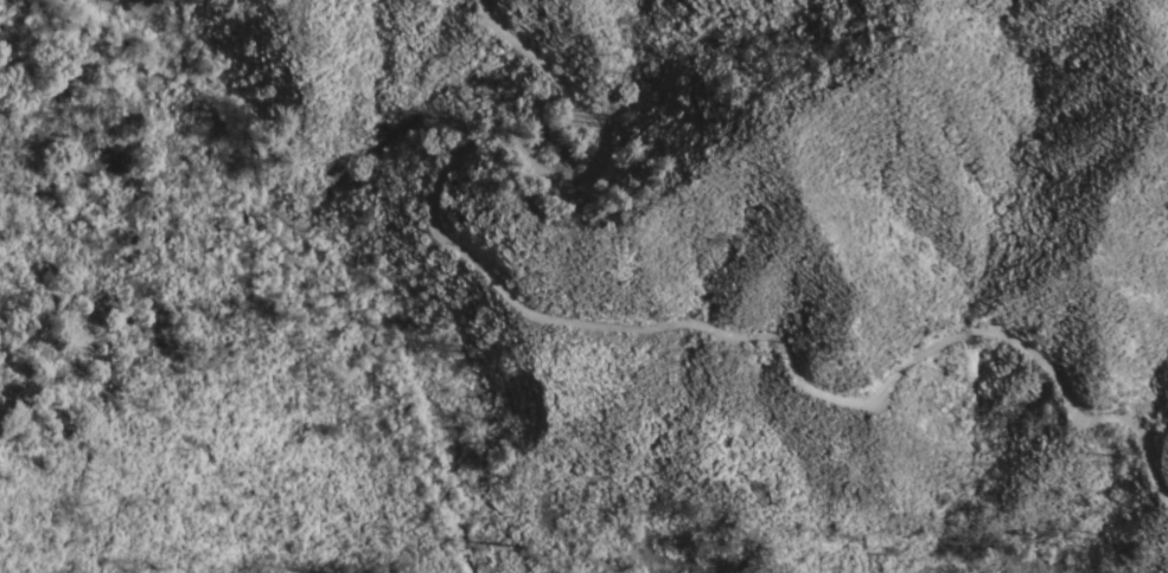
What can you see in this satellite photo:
road: (647, 331)
road: (84, 431)

